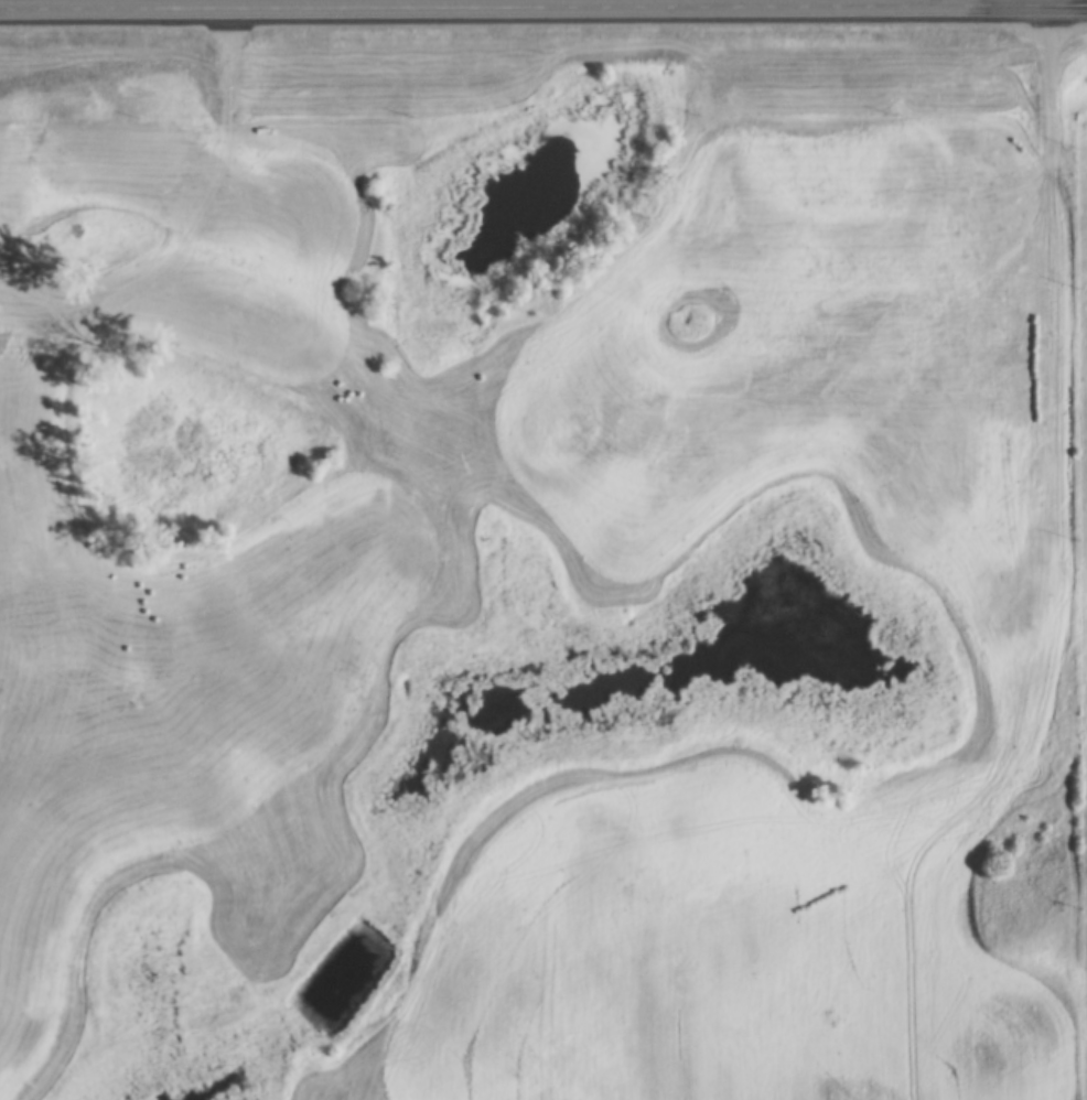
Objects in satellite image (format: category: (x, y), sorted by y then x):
road: (204, 1)
road: (1069, 597)

